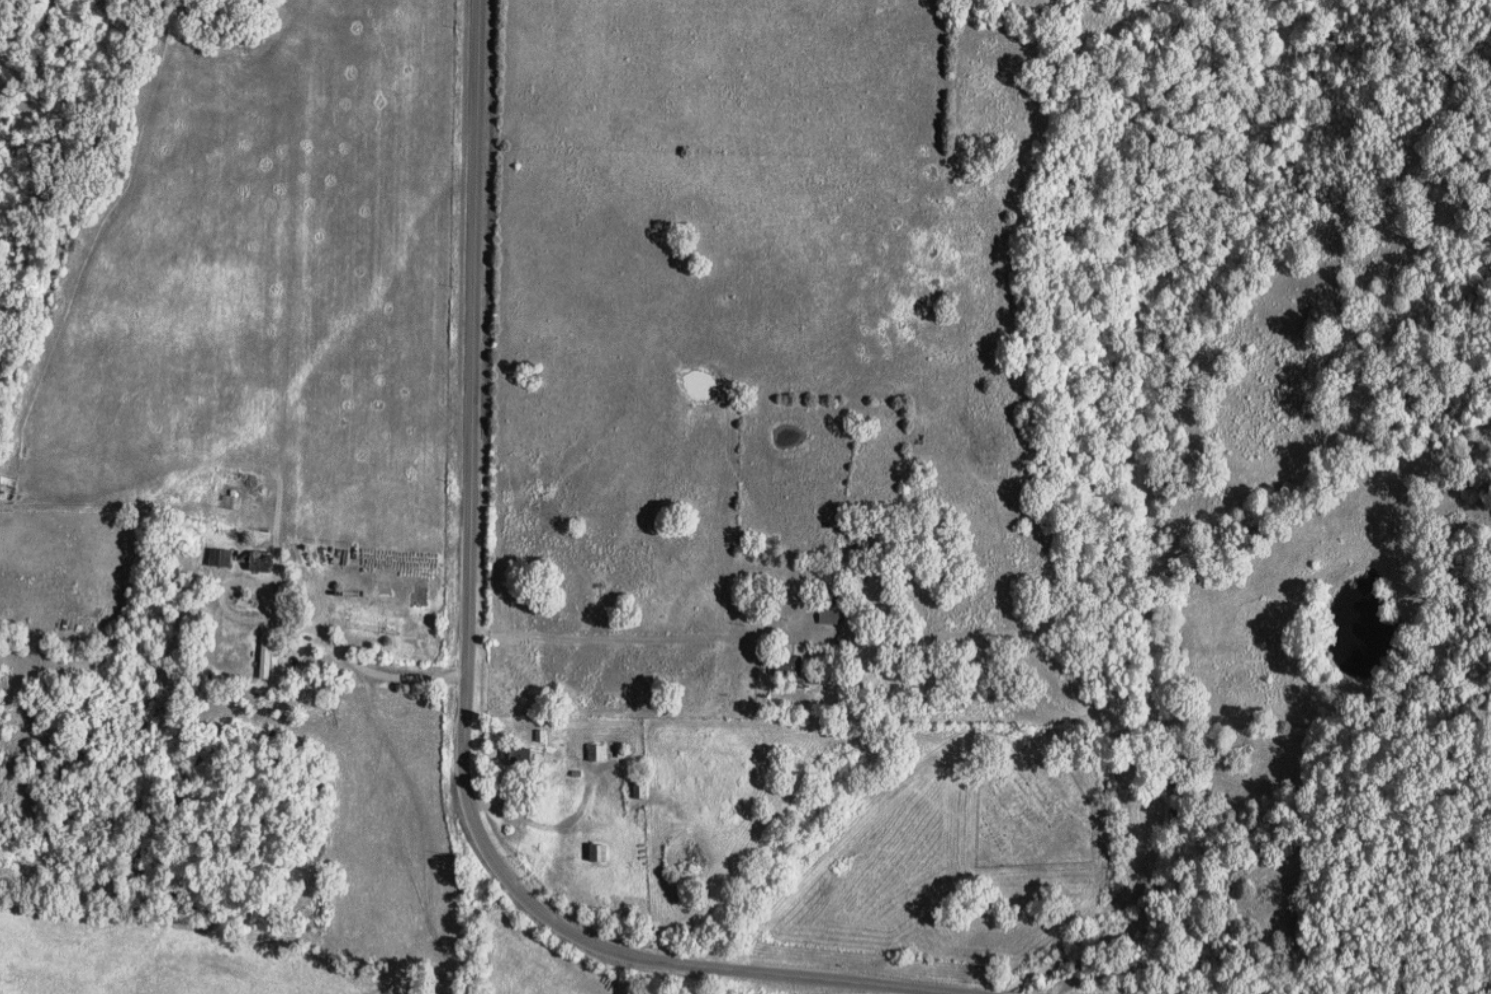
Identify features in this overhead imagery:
building: (225, 557)
building: (831, 616)
road: (634, 636)
building: (271, 653)
building: (789, 666)
road: (364, 669)
road: (469, 687)
building: (596, 753)
park: (1038, 808)
building: (596, 853)

